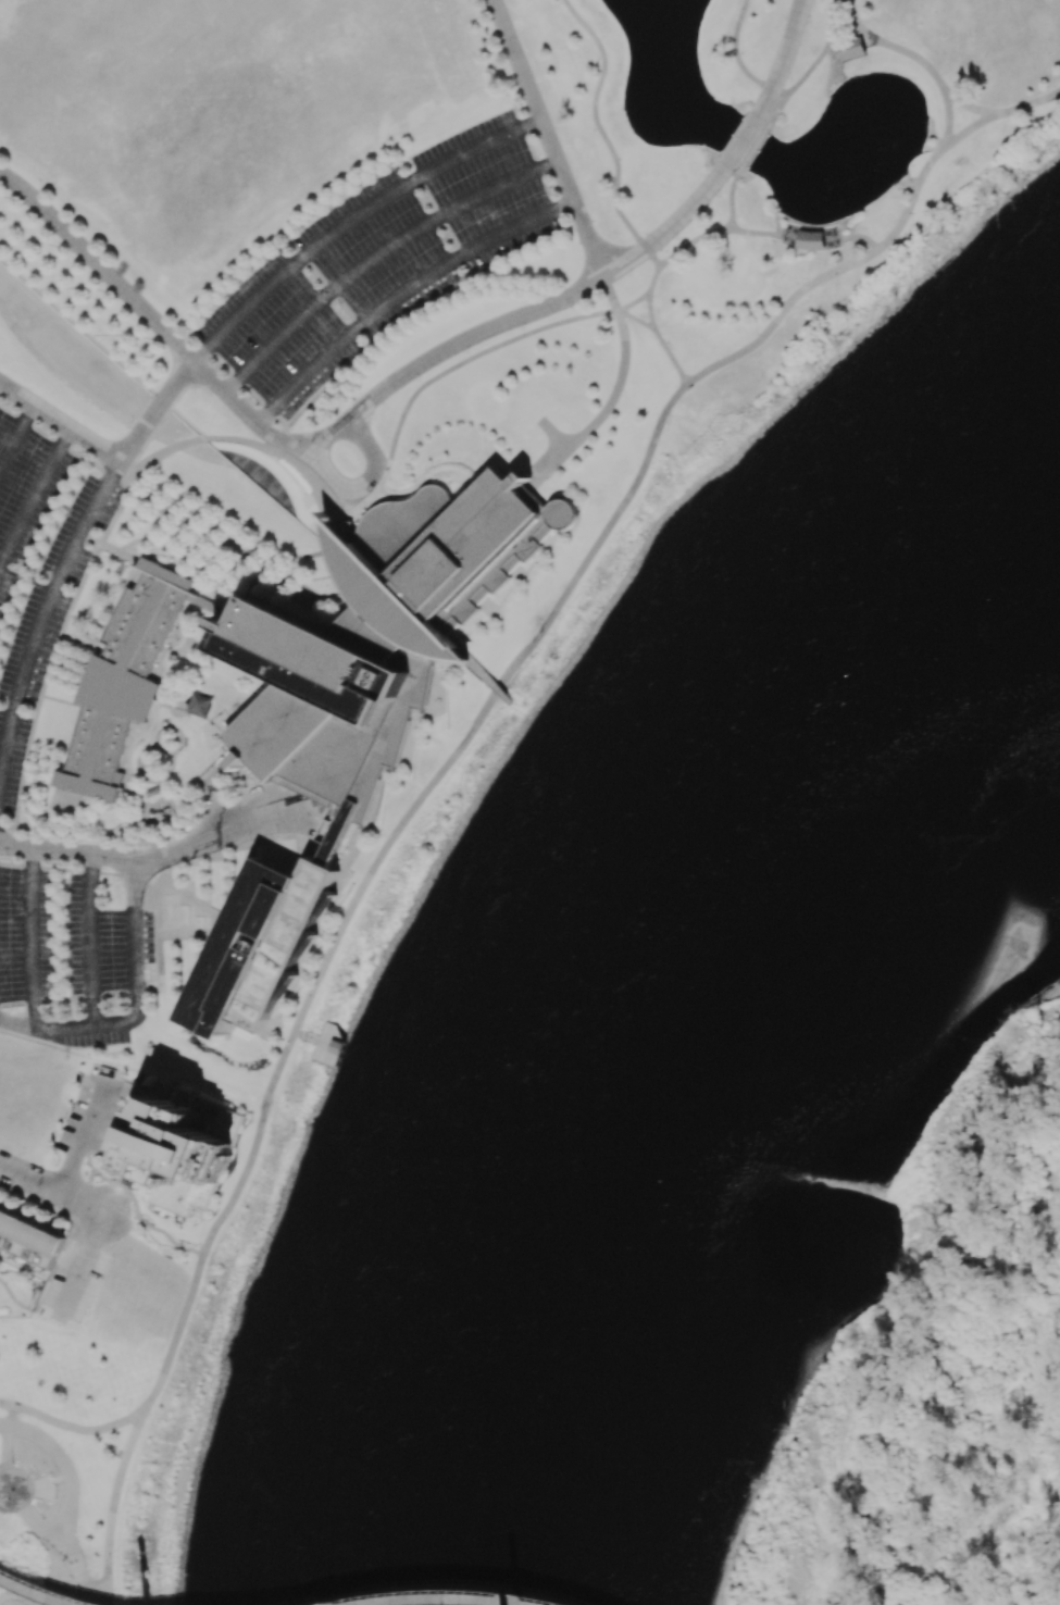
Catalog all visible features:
building: (851, 49)
road: (782, 58)
road: (918, 58)
road: (780, 91)
road: (777, 108)
road: (971, 108)
road: (604, 134)
road: (549, 138)
road: (741, 140)
road: (753, 148)
park: (772, 165)
road: (731, 200)
road: (352, 217)
road: (837, 236)
road: (859, 236)
building: (810, 240)
road: (377, 257)
parking lot: (377, 262)
road: (401, 295)
road: (651, 310)
road: (563, 322)
road: (660, 338)
road: (618, 393)
road: (149, 418)
road: (349, 420)
road: (59, 423)
road: (15, 431)
road: (556, 435)
road: (362, 487)
road: (34, 494)
road: (40, 621)
road: (508, 672)
building: (122, 682)
building: (352, 701)
building: (198, 704)
parking lot: (17, 710)
road: (157, 857)
river: (828, 887)
road: (28, 941)
road: (87, 942)
road: (136, 1008)
river: (672, 1013)
road: (298, 1033)
road: (310, 1037)
pier: (327, 1045)
building: (335, 1046)
road: (83, 1134)
building: (175, 1155)
road: (51, 1187)
road: (135, 1205)
building: (27, 1244)
road: (80, 1264)
road: (4, 1424)
road: (72, 1427)
road: (8, 1433)
road: (67, 1468)
road: (40, 1484)
road: (9, 1485)
road: (52, 1488)
road: (114, 1503)
road: (39, 1525)
road: (79, 1572)
road: (36, 1592)
road: (410, 1598)
road: (494, 1600)
road: (107, 1601)

